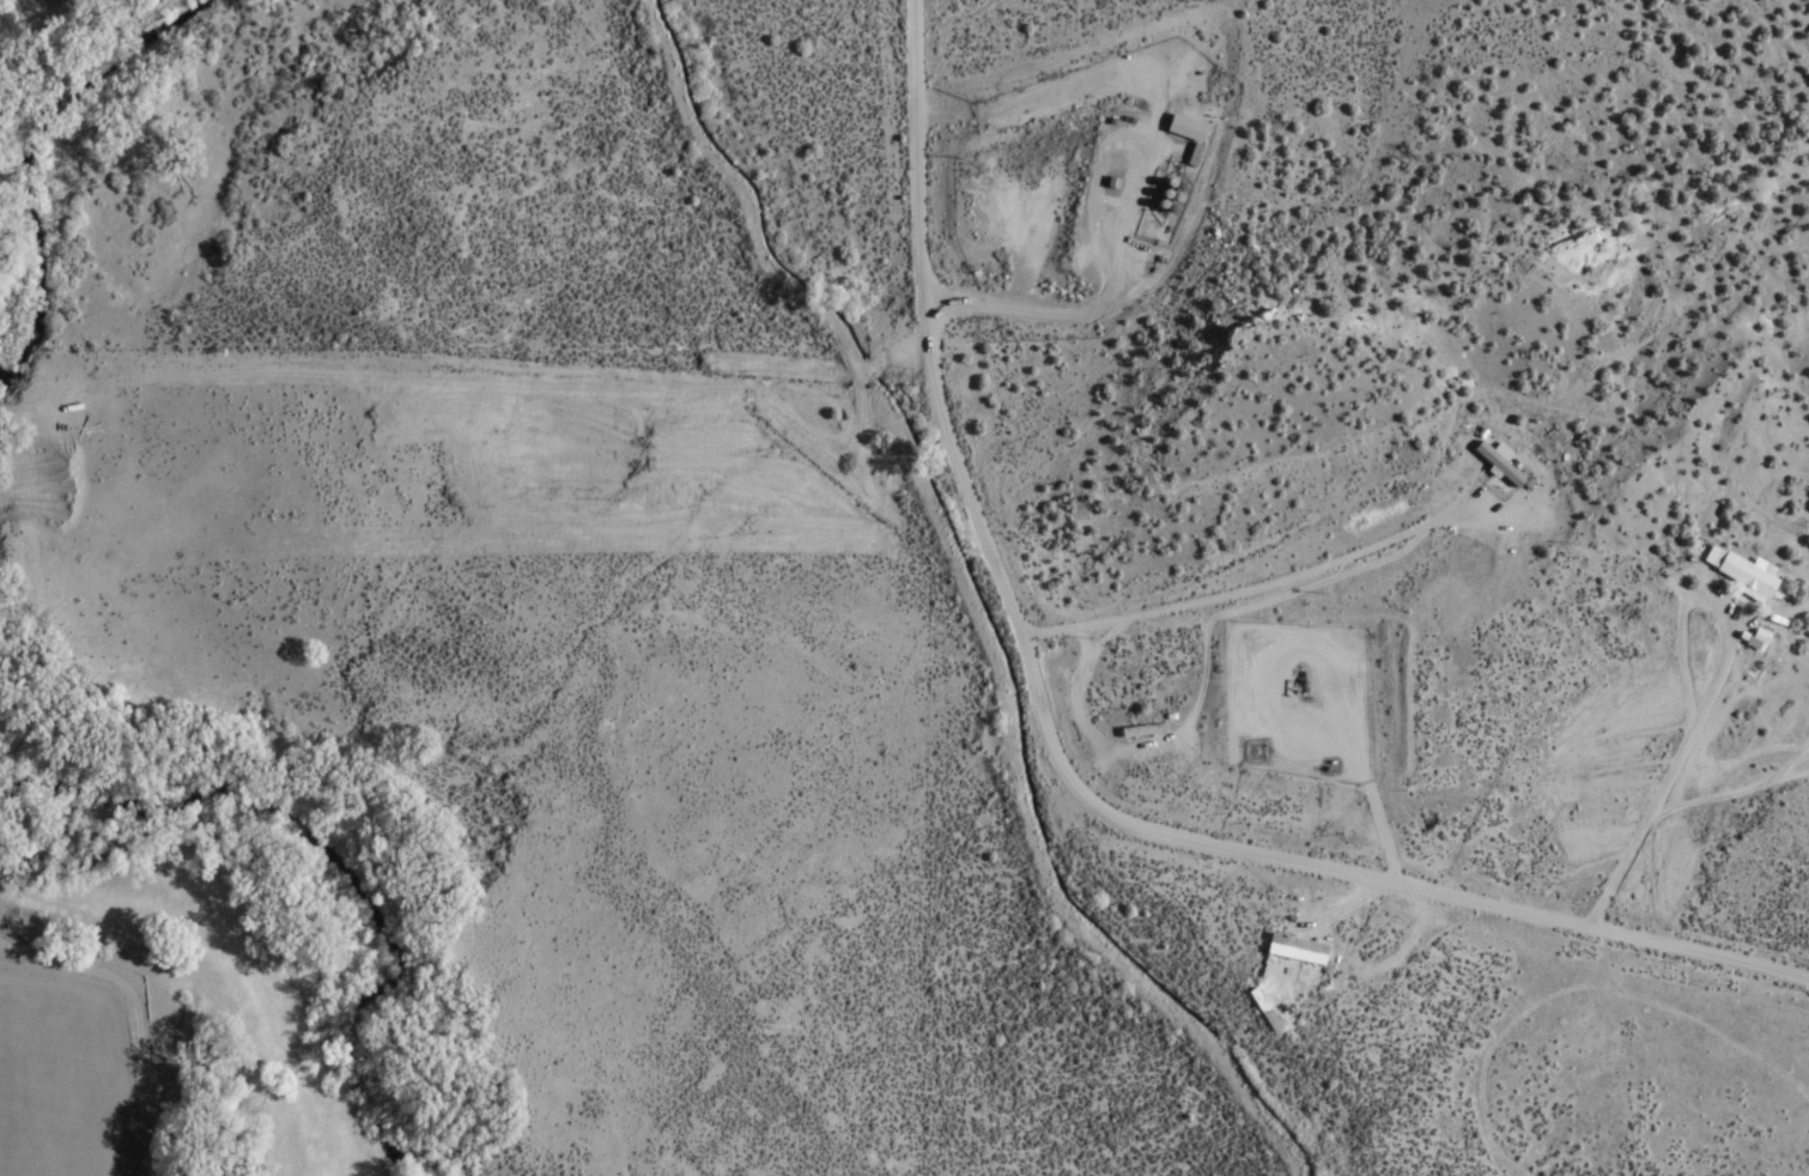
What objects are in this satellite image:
river: (71, 146)
building: (1195, 154)
building: (1499, 462)
building: (1742, 574)
building: (1758, 637)
building: (1258, 756)
road: (1062, 765)
river: (340, 878)
building: (1279, 950)

